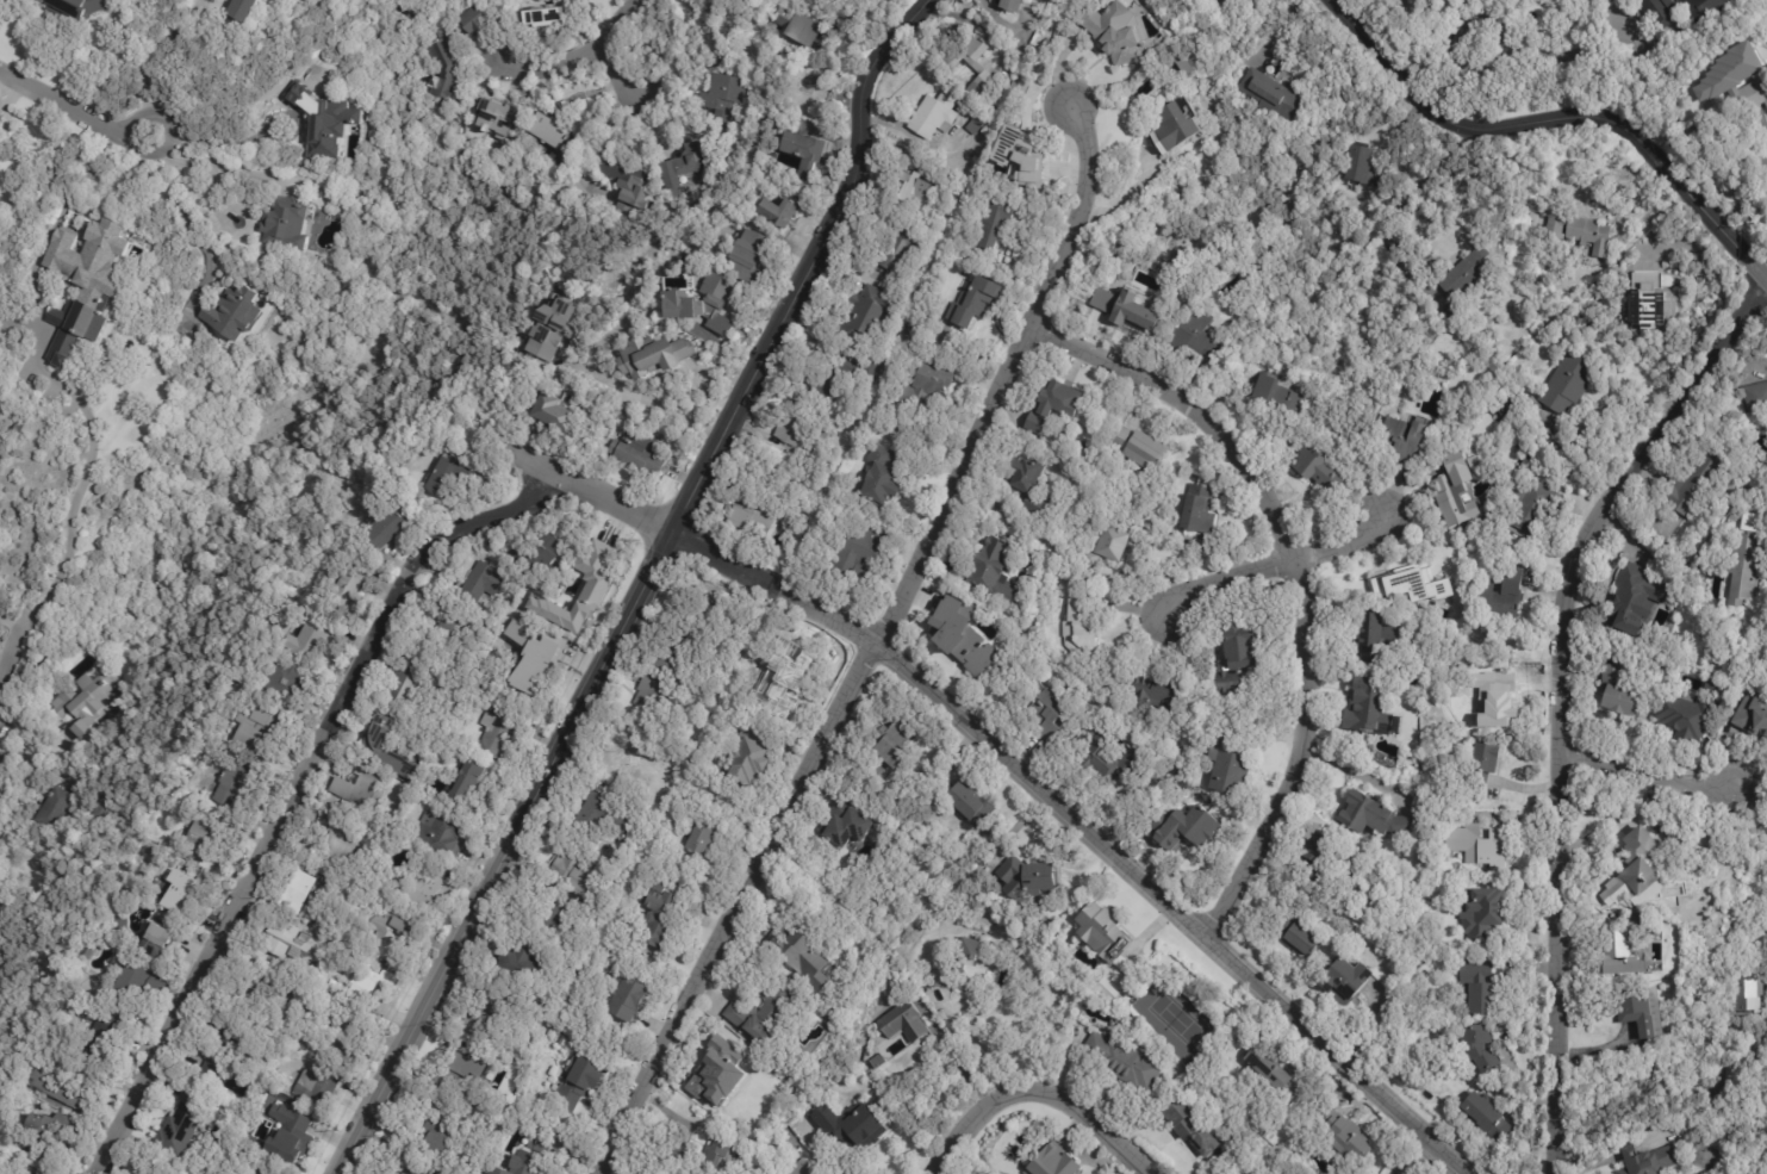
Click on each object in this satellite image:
building: (1038, 0)
building: (1212, 0)
building: (1387, 0)
building: (1232, 5)
building: (1008, 6)
building: (83, 8)
building: (250, 11)
building: (1681, 11)
building: (531, 18)
building: (782, 20)
building: (466, 24)
building: (802, 30)
building: (435, 35)
building: (1113, 36)
road: (1522, 48)
road: (571, 55)
road: (148, 56)
building: (973, 66)
building: (441, 73)
building: (1736, 79)
building: (809, 87)
road: (639, 91)
building: (304, 94)
building: (1267, 97)
building: (1749, 97)
building: (717, 99)
road: (74, 108)
building: (933, 116)
building: (1718, 117)
building: (502, 118)
building: (2, 119)
building: (1177, 123)
road: (1555, 123)
building: (975, 126)
building: (331, 131)
building: (546, 135)
road: (220, 142)
building: (801, 149)
building: (687, 162)
building: (1019, 163)
road: (199, 167)
building: (1361, 169)
building: (618, 179)
building: (1728, 181)
building: (914, 190)
road: (185, 213)
building: (782, 213)
road: (1390, 215)
building: (1766, 220)
building: (991, 224)
road: (1077, 224)
building: (293, 225)
building: (1581, 231)
road: (1548, 247)
building: (901, 250)
building: (757, 253)
building: (95, 256)
building: (1468, 269)
building: (1653, 299)
building: (685, 304)
building: (972, 305)
building: (235, 310)
building: (1133, 311)
building: (865, 318)
building: (79, 328)
building: (555, 329)
building: (1194, 336)
road: (1744, 350)
building: (658, 358)
building: (845, 368)
building: (867, 374)
building: (1568, 384)
building: (821, 385)
building: (922, 389)
building: (1275, 395)
building: (1756, 397)
road: (641, 398)
building: (1052, 404)
building: (560, 410)
building: (794, 426)
building: (24, 427)
building: (1401, 439)
building: (1134, 448)
building: (643, 454)
building: (1317, 470)
building: (450, 472)
building: (878, 478)
building: (1696, 482)
building: (1027, 486)
building: (1454, 491)
road: (71, 496)
building: (1530, 505)
building: (1196, 510)
building: (751, 518)
building: (857, 518)
building: (392, 528)
road: (1342, 540)
building: (1107, 548)
building: (542, 555)
building: (855, 557)
building: (1479, 557)
building: (1743, 567)
building: (994, 572)
road: (1296, 574)
building: (595, 576)
road: (1224, 576)
building: (487, 583)
building: (350, 585)
building: (1408, 586)
road: (642, 588)
building: (1498, 597)
building: (1635, 597)
building: (708, 610)
building: (776, 622)
road: (7, 623)
building: (1080, 627)
building: (962, 635)
building: (1368, 635)
building: (317, 639)
building: (455, 639)
building: (1233, 652)
road: (7, 660)
building: (539, 667)
building: (293, 681)
building: (411, 682)
building: (789, 682)
building: (1710, 687)
building: (1617, 691)
building: (1153, 695)
building: (1483, 695)
road: (1561, 696)
building: (649, 700)
building: (85, 704)
building: (1365, 709)
building: (1045, 710)
building: (1684, 714)
building: (1752, 715)
building: (265, 731)
building: (504, 731)
building: (895, 743)
building: (382, 747)
building: (684, 747)
building: (747, 753)
road: (816, 754)
building: (1103, 758)
building: (1485, 765)
building: (624, 766)
road: (1014, 766)
building: (1226, 772)
road: (1649, 776)
building: (239, 779)
building: (475, 781)
building: (356, 787)
road: (292, 791)
building: (409, 791)
building: (969, 800)
building: (56, 807)
building: (601, 810)
building: (1370, 815)
building: (847, 825)
building: (1182, 827)
building: (444, 834)
building: (207, 838)
building: (342, 838)
building: (699, 839)
building: (1479, 845)
building: (1315, 855)
building: (570, 863)
building: (1637, 863)
building: (1028, 872)
building: (182, 890)
building: (424, 892)
building: (305, 893)
building: (123, 895)
building: (658, 913)
building: (1481, 914)
building: (549, 917)
building: (1638, 917)
building: (1662, 919)
building: (1100, 930)
building: (394, 934)
building: (290, 936)
building: (1294, 936)
building: (158, 937)
building: (1620, 952)
building: (799, 956)
building: (518, 959)
building: (968, 964)
building: (167, 965)
building: (1500, 969)
building: (938, 975)
building: (1343, 983)
building: (145, 984)
building: (369, 984)
building: (1105, 988)
building: (920, 989)
building: (1475, 989)
building: (267, 995)
building: (624, 996)
building: (1746, 996)
building: (490, 1013)
building: (759, 1014)
building: (1642, 1014)
building: (903, 1023)
building: (347, 1037)
road: (968, 1042)
building: (106, 1044)
building: (231, 1044)
building: (1476, 1049)
building: (1120, 1061)
building: (877, 1062)
building: (1270, 1070)
building: (449, 1073)
building: (319, 1083)
building: (577, 1083)
road: (1035, 1086)
building: (66, 1087)
building: (727, 1093)
building: (1485, 1119)
building: (183, 1125)
building: (1187, 1125)
building: (850, 1128)
building: (55, 1133)
building: (435, 1133)
building: (1345, 1135)
building: (295, 1136)
building: (702, 1157)
road: (1416, 1157)
building: (1648, 1161)
building: (518, 1163)
building: (1054, 1163)
building: (260, 1169)
building: (416, 1169)
building: (801, 1169)
building: (15, 1172)
building: (23, 1172)
building: (147, 1173)

